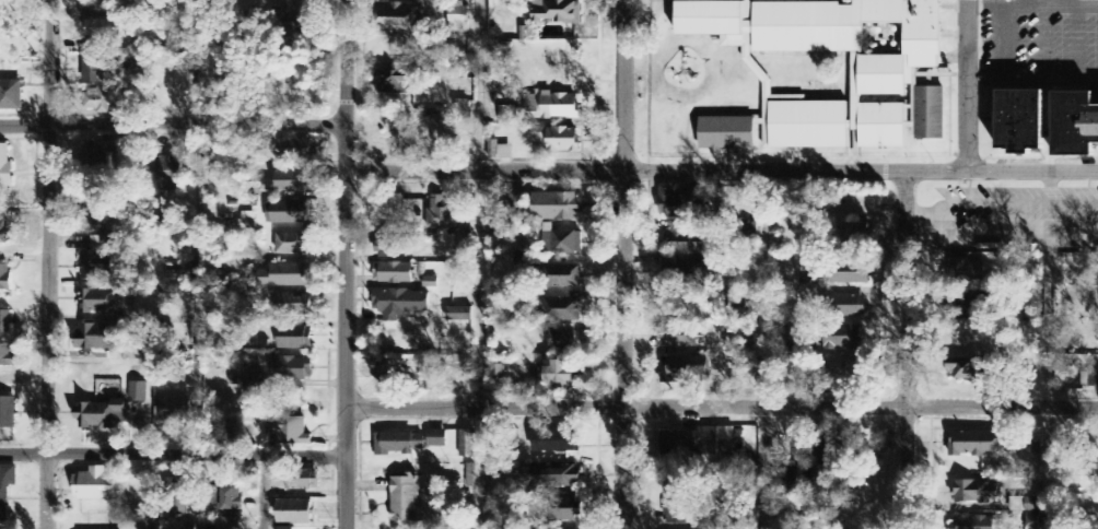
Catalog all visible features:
building: (558, 12)
building: (400, 17)
building: (459, 17)
building: (292, 27)
building: (107, 31)
building: (838, 46)
building: (103, 70)
building: (462, 71)
building: (395, 81)
road: (968, 84)
road: (482, 85)
building: (11, 96)
building: (97, 101)
building: (560, 106)
building: (930, 114)
building: (1020, 120)
building: (1075, 122)
road: (172, 124)
building: (806, 125)
building: (727, 133)
building: (558, 139)
building: (294, 151)
building: (499, 151)
building: (98, 156)
road: (721, 172)
building: (5, 173)
building: (170, 174)
building: (288, 183)
building: (516, 201)
building: (678, 205)
building: (557, 207)
building: (289, 213)
building: (443, 214)
building: (97, 215)
building: (248, 221)
building: (4, 233)
building: (856, 236)
building: (561, 242)
building: (686, 243)
building: (293, 244)
building: (389, 246)
building: (434, 258)
building: (98, 260)
road: (49, 263)
road: (623, 263)
road: (344, 264)
building: (966, 270)
building: (685, 271)
building: (393, 273)
building: (287, 277)
building: (564, 277)
building: (5, 279)
building: (852, 279)
building: (103, 303)
building: (294, 304)
building: (400, 304)
building: (850, 305)
building: (560, 309)
building: (962, 309)
building: (459, 315)
building: (5, 322)
building: (94, 338)
building: (679, 338)
building: (843, 338)
building: (294, 339)
building: (562, 339)
road: (1048, 349)
road: (479, 350)
road: (759, 350)
road: (904, 350)
building: (7, 355)
building: (966, 367)
building: (686, 368)
building: (292, 369)
building: (560, 375)
building: (499, 380)
building: (257, 381)
building: (138, 392)
road: (721, 407)
building: (173, 412)
building: (8, 413)
building: (102, 415)
building: (289, 431)
building: (437, 438)
building: (553, 442)
building: (696, 442)
building: (398, 444)
building: (467, 444)
building: (974, 444)
building: (830, 449)
road: (173, 457)
building: (562, 477)
building: (302, 482)
building: (96, 485)
building: (499, 486)
building: (5, 489)
road: (262, 493)
building: (974, 494)
building: (405, 498)
building: (1026, 505)
building: (674, 507)
building: (231, 508)
building: (565, 509)
building: (294, 513)
building: (1032, 521)
building: (974, 522)
building: (285, 528)

